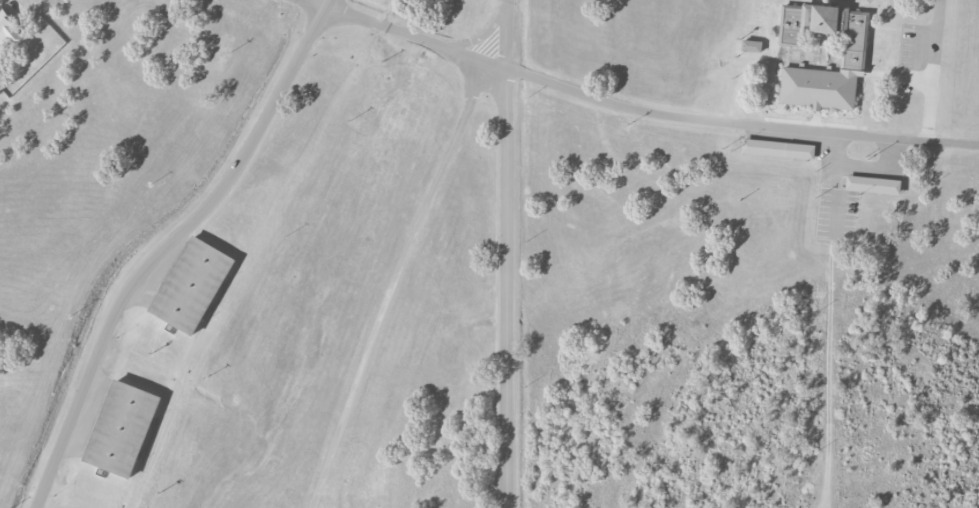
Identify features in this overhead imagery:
building: (8, 33)
building: (751, 45)
building: (854, 56)
road: (937, 72)
road: (635, 110)
building: (778, 148)
road: (859, 169)
building: (873, 184)
road: (165, 244)
road: (407, 252)
road: (509, 253)
building: (192, 285)
building: (122, 428)

